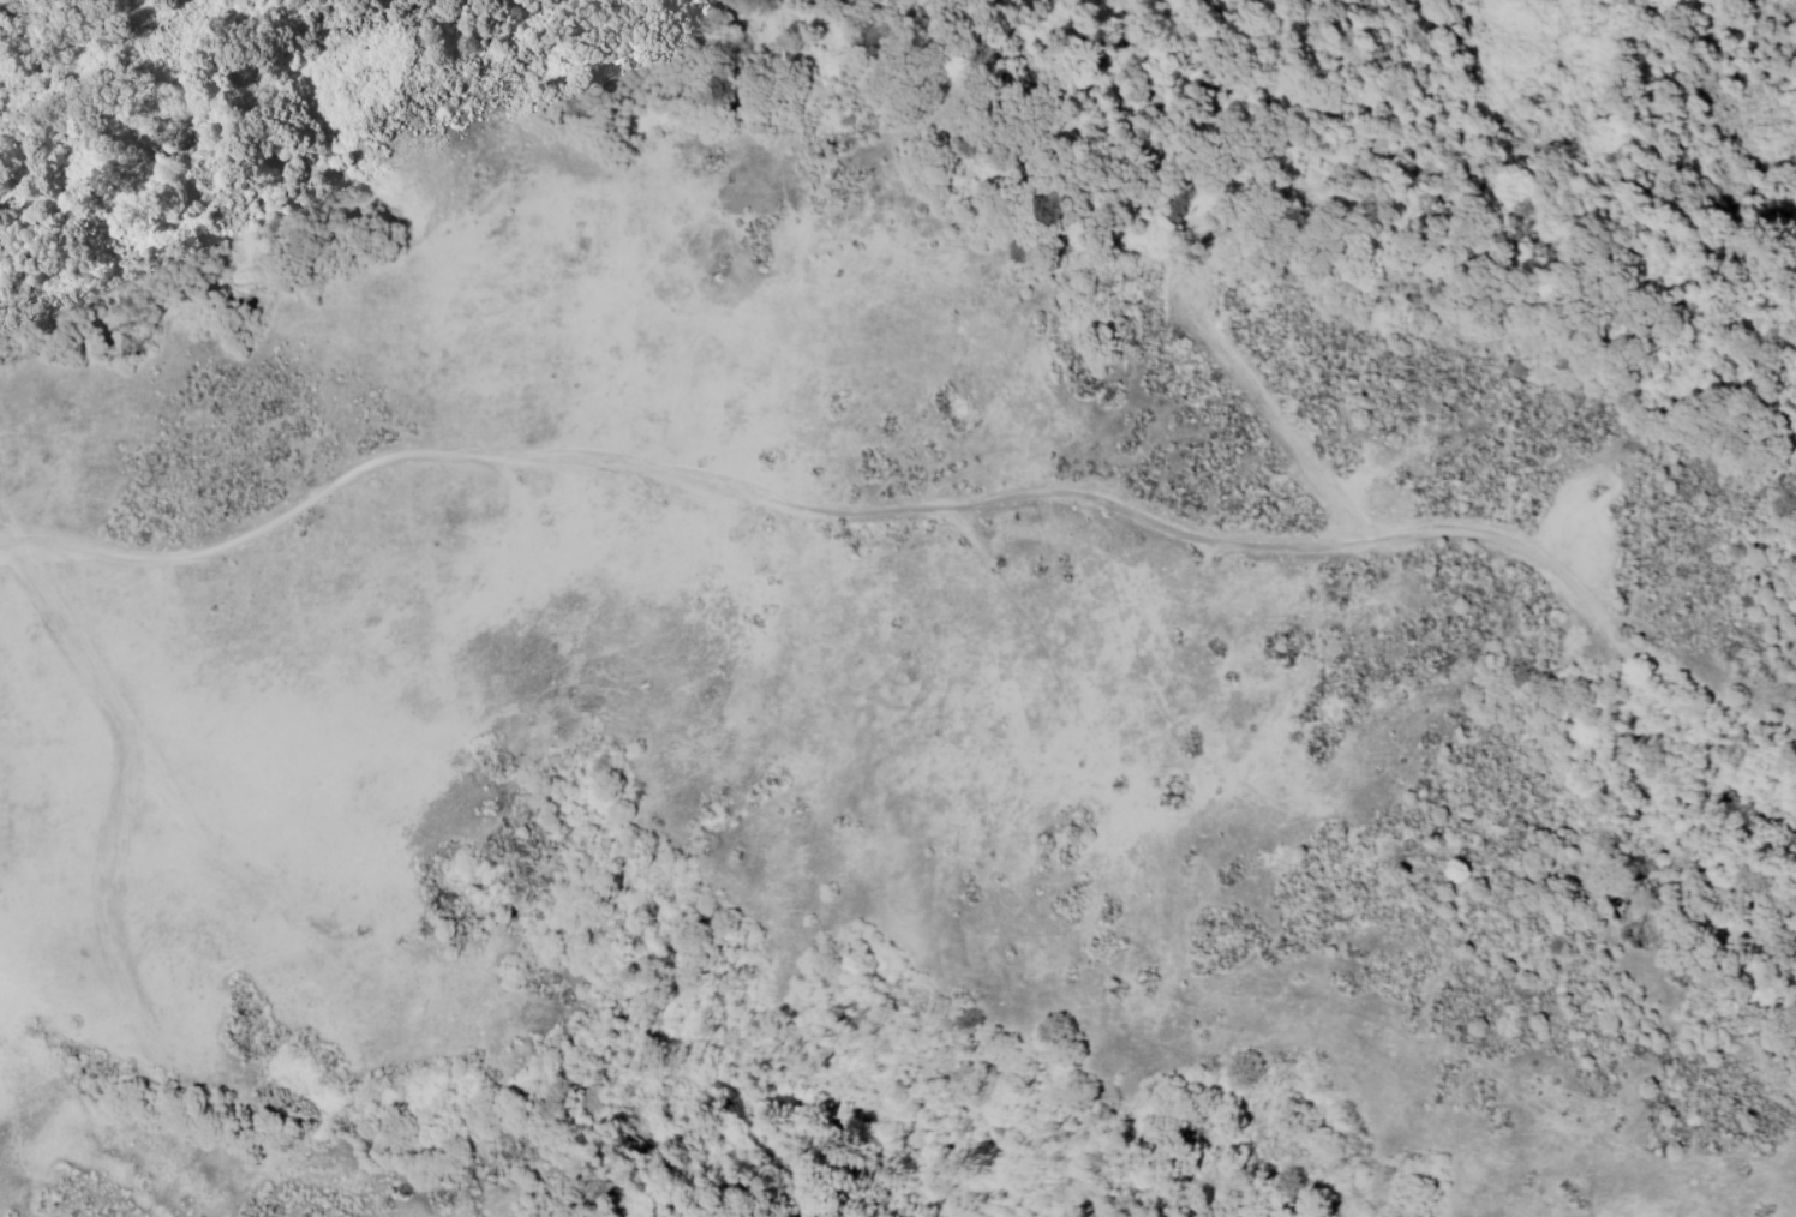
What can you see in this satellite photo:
road: (920, 509)

